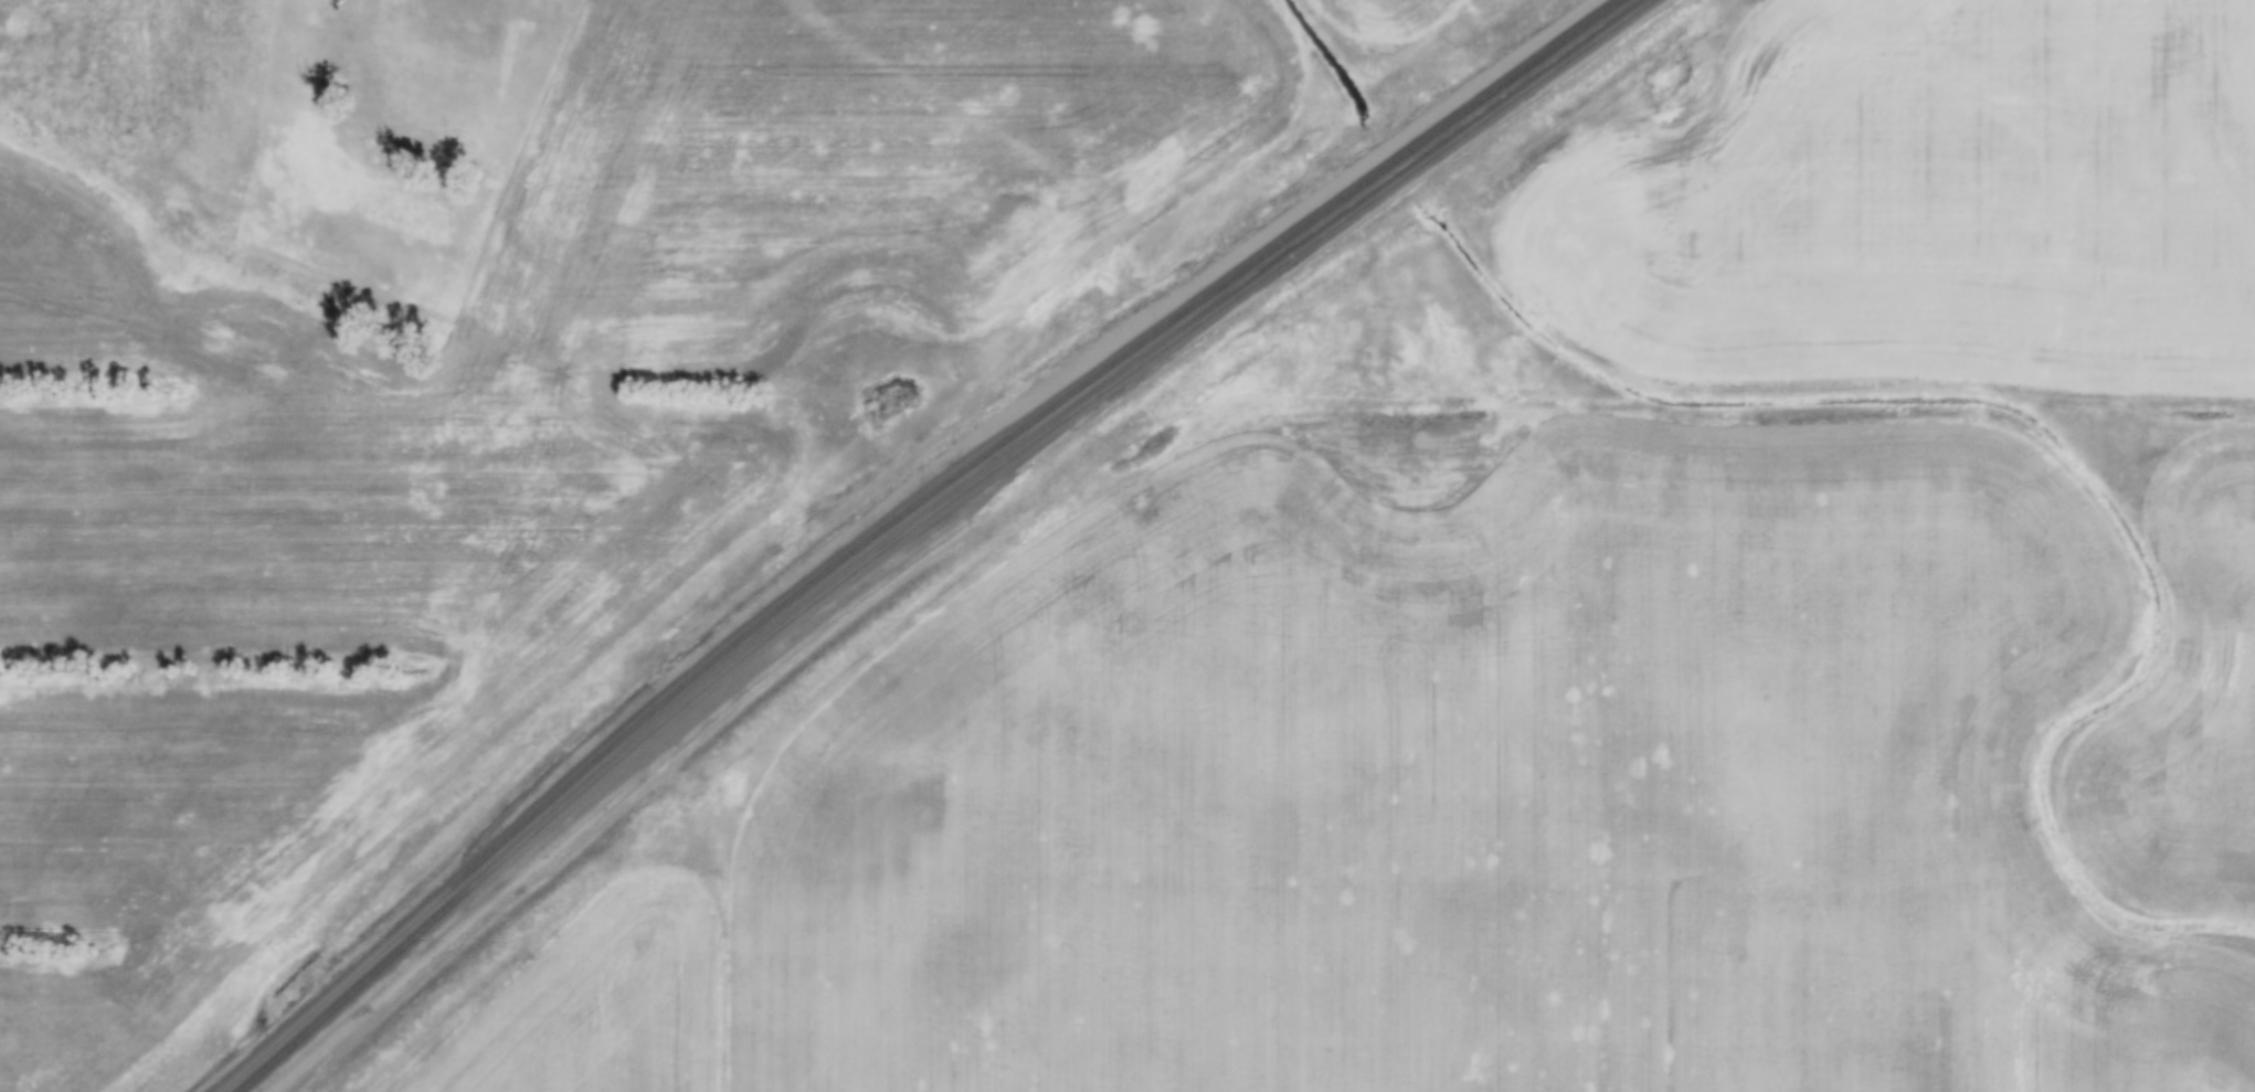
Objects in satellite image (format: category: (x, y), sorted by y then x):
railway: (902, 517)
railway: (931, 519)

